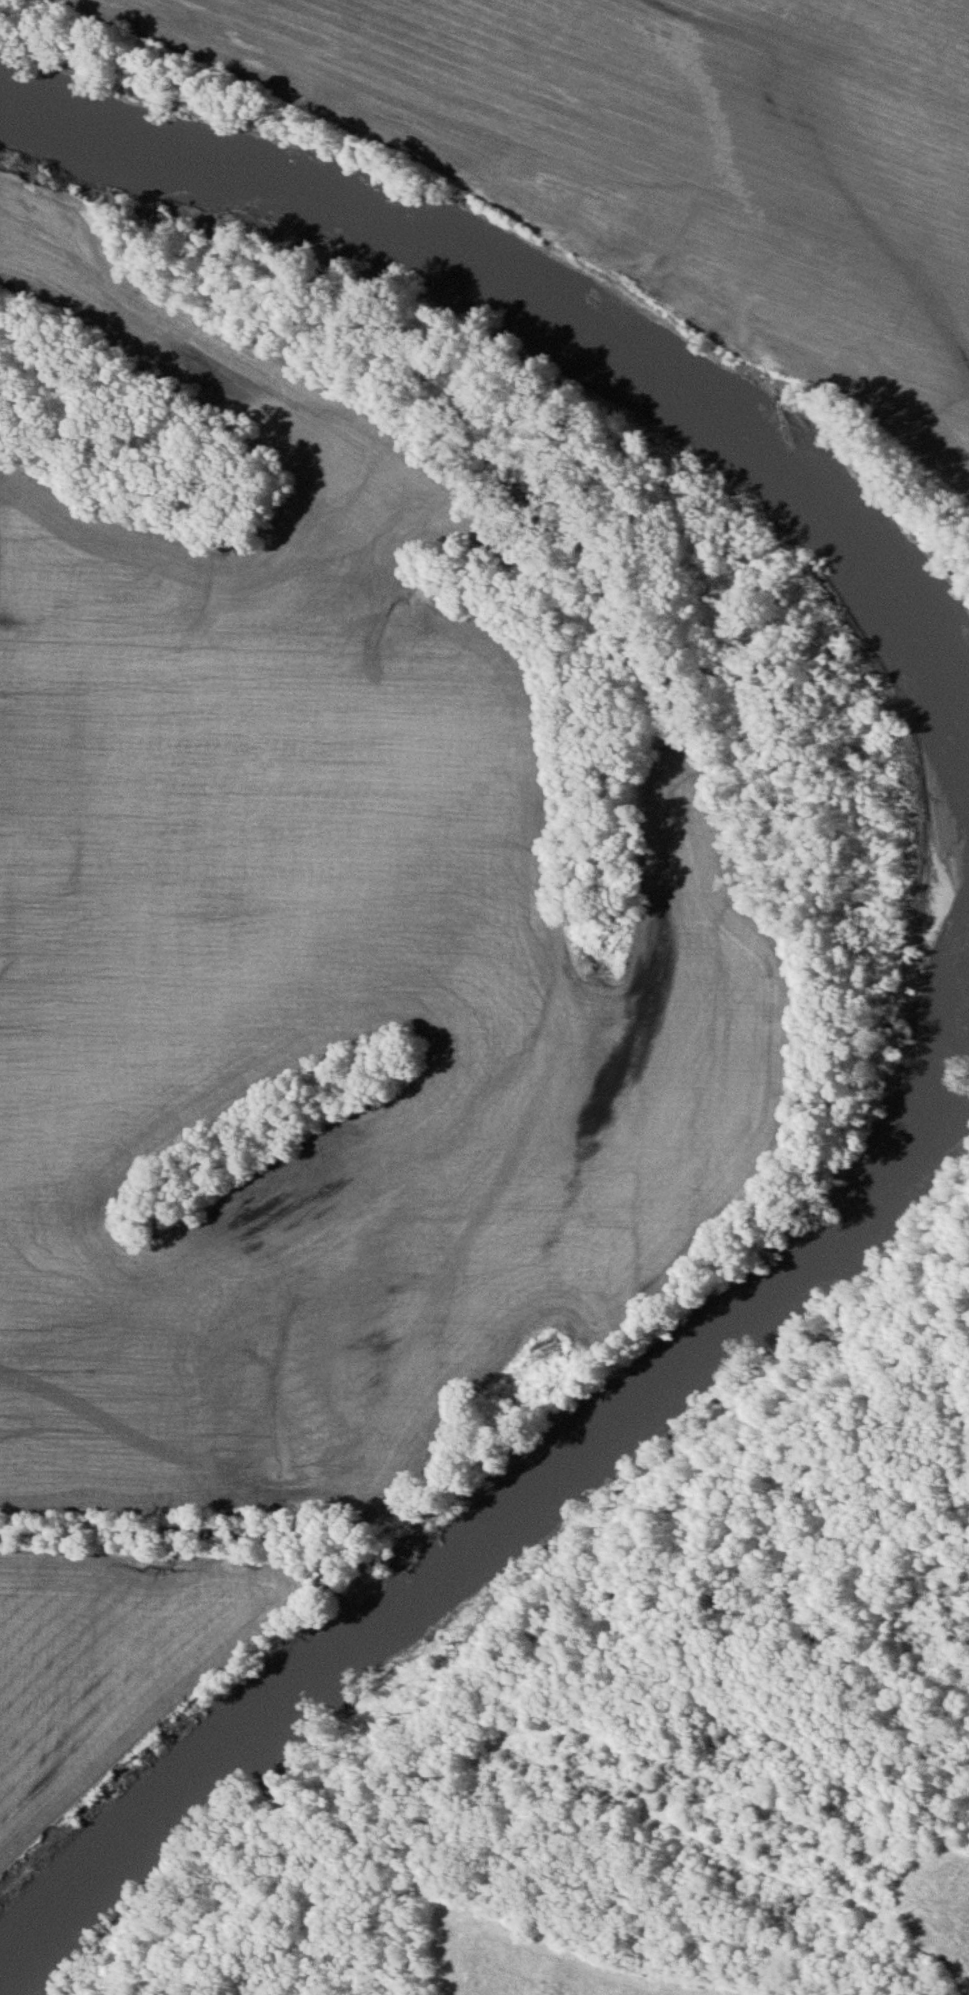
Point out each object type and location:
crop: (676, 156)
river: (951, 978)
crop: (112, 1665)

